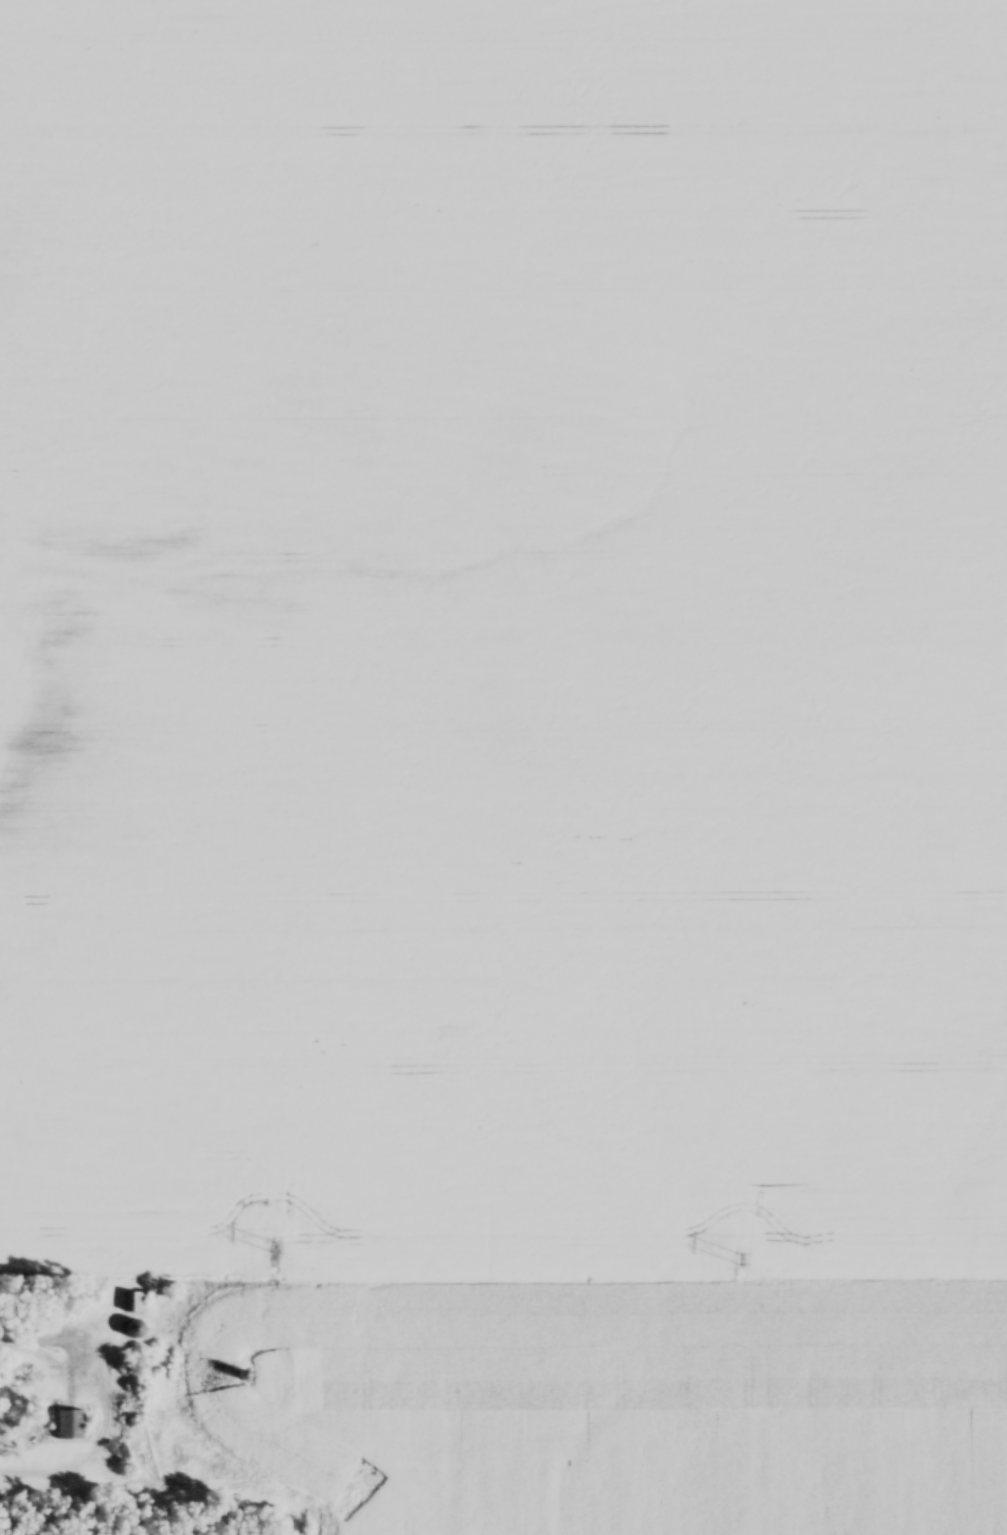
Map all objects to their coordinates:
power tower: (272, 1246)
power tower: (737, 1259)
building: (135, 1300)
building: (78, 1424)

